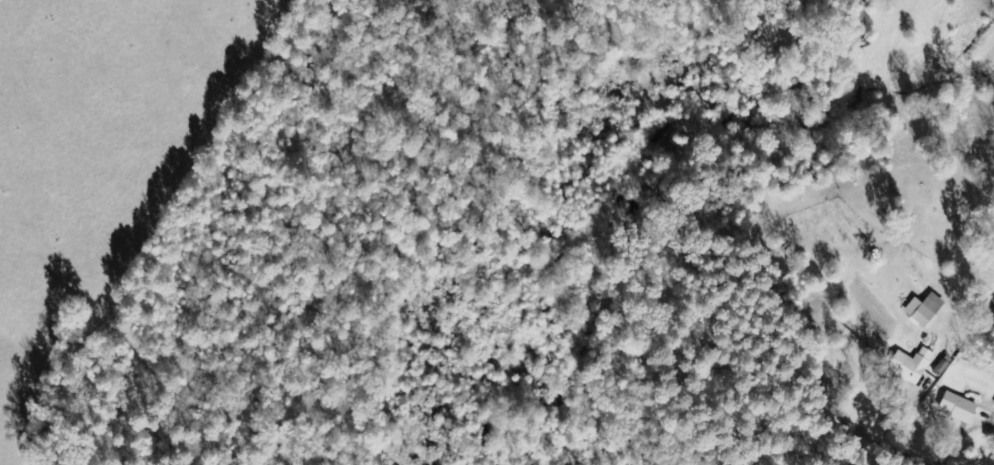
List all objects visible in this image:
building: (923, 311)
building: (911, 366)
building: (957, 408)
road: (838, 410)

